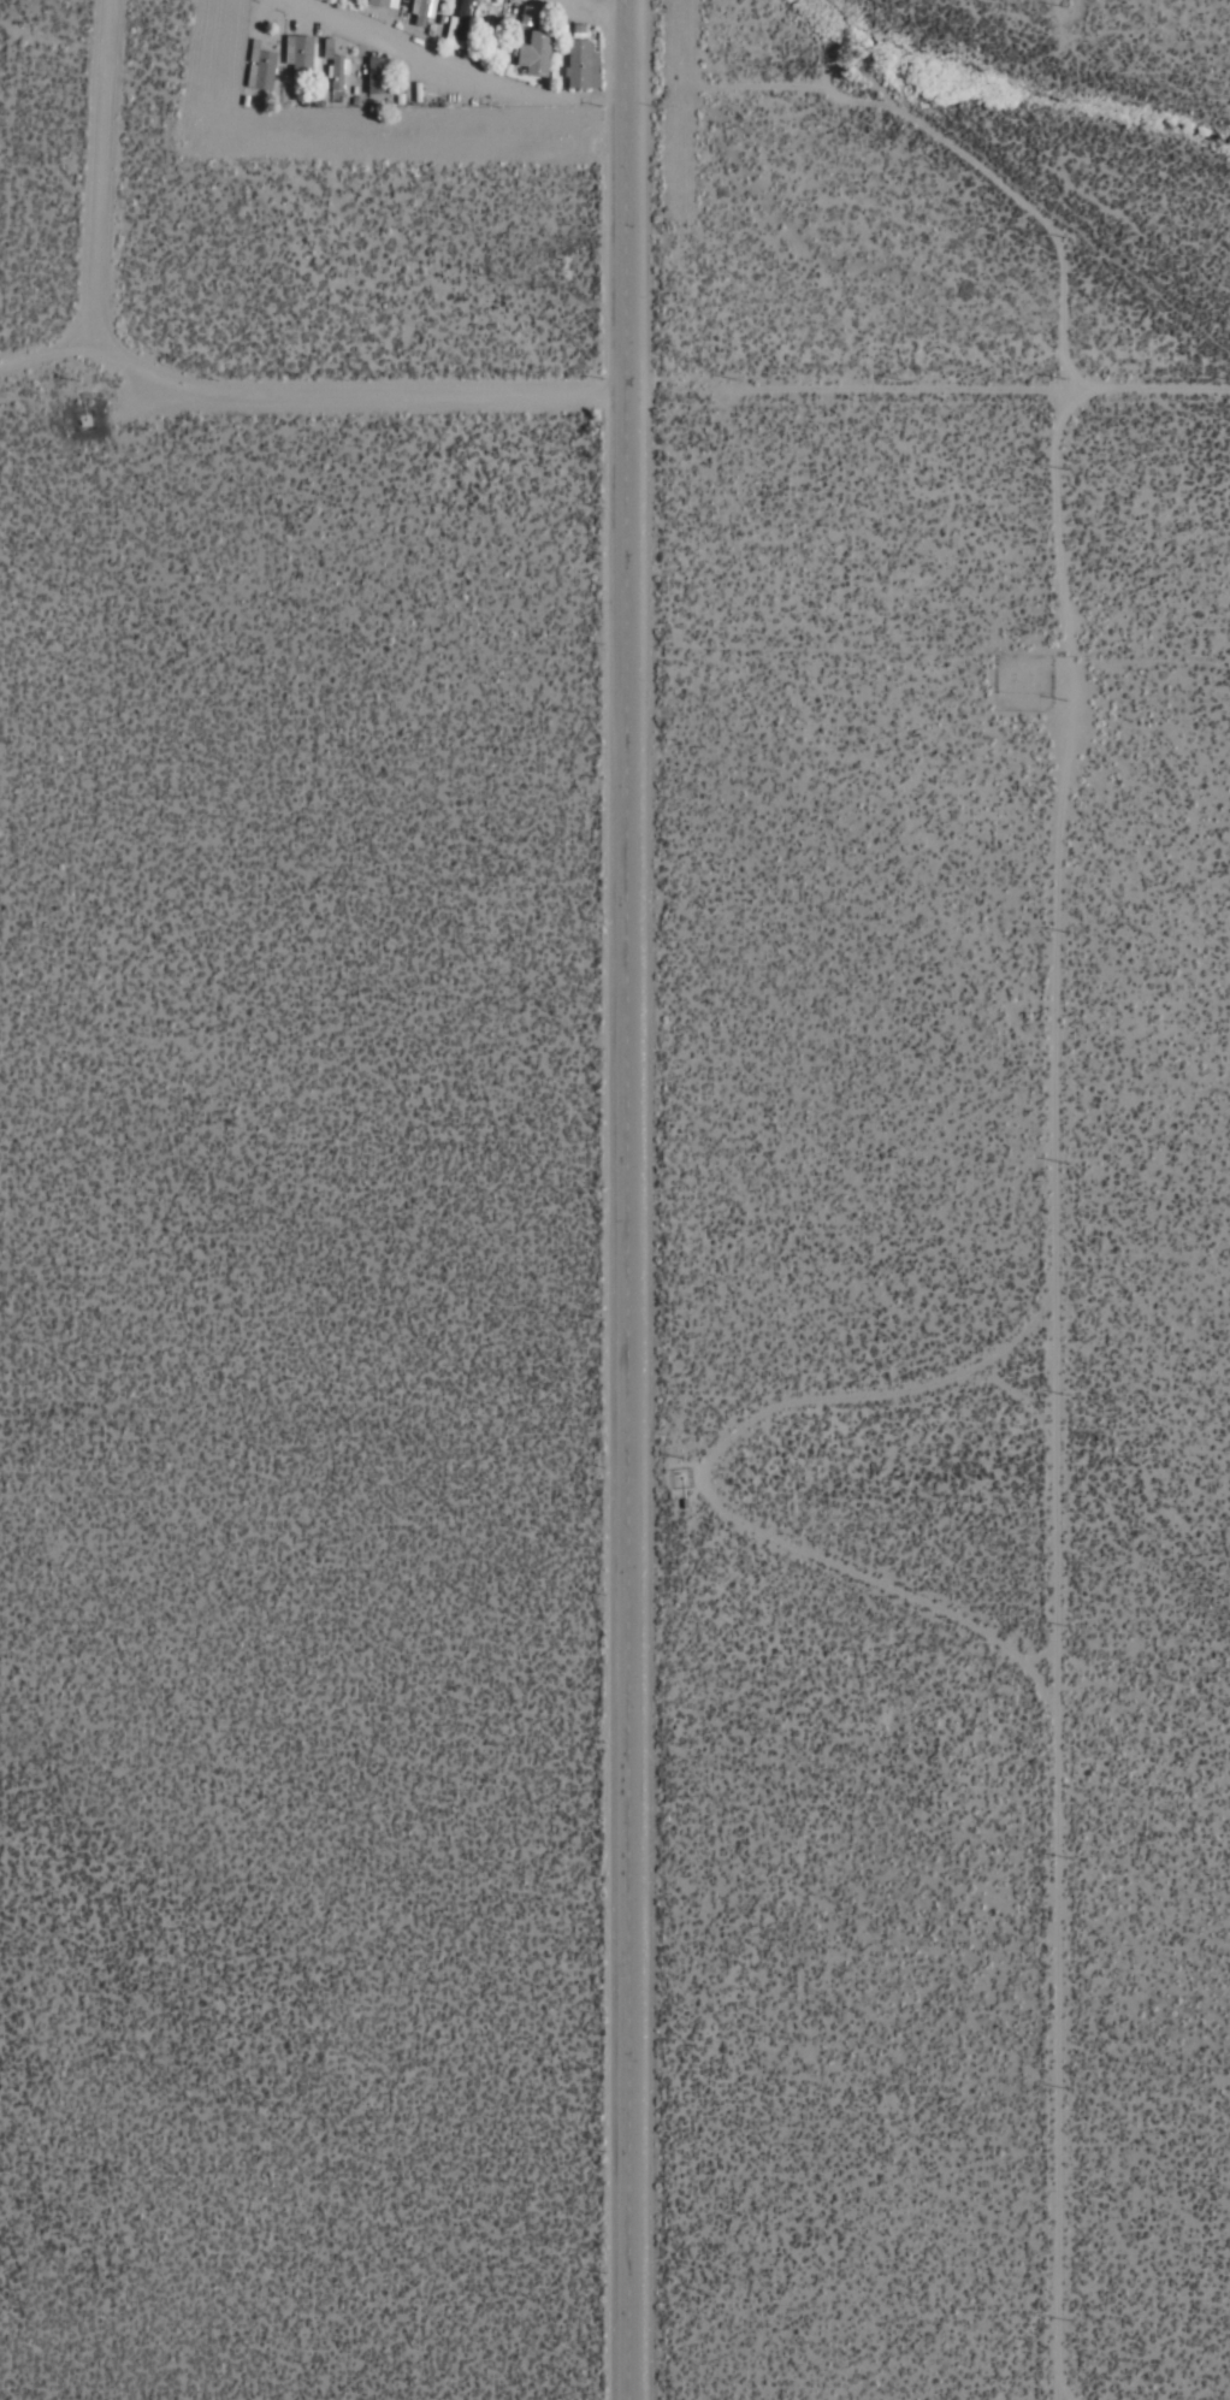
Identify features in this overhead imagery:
building: (388, 1)
building: (378, 2)
road: (607, 8)
building: (419, 11)
building: (459, 19)
road: (1063, 23)
building: (301, 53)
building: (533, 53)
building: (580, 64)
building: (261, 70)
road: (468, 70)
building: (335, 72)
building: (375, 77)
road: (107, 173)
road: (314, 394)
road: (853, 395)
road: (1149, 395)
road: (638, 1199)
road: (1068, 1396)
road: (900, 1403)

